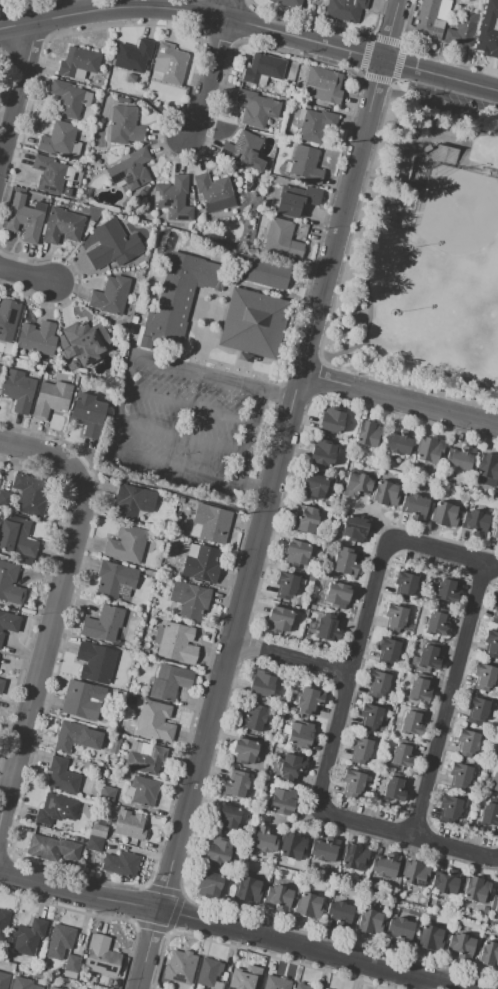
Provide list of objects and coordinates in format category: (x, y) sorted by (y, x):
building: (286, 3)
building: (344, 10)
building: (490, 14)
building: (427, 22)
road: (251, 24)
building: (462, 30)
building: (486, 43)
building: (133, 55)
building: (78, 62)
building: (169, 63)
road: (211, 68)
building: (263, 69)
building: (301, 73)
building: (325, 83)
road: (16, 87)
building: (65, 99)
road: (405, 107)
building: (256, 109)
building: (300, 114)
building: (123, 125)
building: (315, 126)
building: (59, 140)
building: (245, 150)
building: (445, 154)
road: (468, 163)
building: (305, 164)
road: (402, 164)
building: (130, 170)
building: (48, 175)
building: (214, 192)
building: (173, 199)
building: (296, 200)
building: (24, 219)
building: (62, 226)
park: (443, 238)
building: (282, 239)
building: (112, 245)
park: (424, 247)
road: (344, 252)
building: (265, 273)
road: (25, 275)
building: (111, 295)
building: (177, 297)
building: (186, 299)
building: (7, 319)
building: (253, 323)
building: (37, 338)
road: (366, 341)
building: (84, 342)
road: (341, 349)
park: (481, 355)
building: (244, 356)
building: (0, 367)
road: (129, 374)
road: (198, 374)
building: (18, 390)
road: (398, 397)
building: (51, 399)
road: (120, 407)
road: (189, 408)
building: (88, 414)
building: (331, 420)
parking lot: (183, 423)
building: (368, 433)
road: (112, 436)
road: (250, 438)
road: (180, 439)
building: (400, 442)
building: (428, 449)
building: (322, 453)
building: (460, 459)
building: (488, 466)
road: (173, 467)
building: (356, 484)
building: (314, 486)
road: (170, 492)
building: (383, 493)
building: (29, 494)
road: (267, 494)
building: (6, 499)
building: (179, 499)
building: (132, 502)
building: (413, 507)
building: (443, 515)
building: (305, 520)
building: (475, 522)
building: (210, 524)
building: (353, 529)
building: (494, 532)
building: (18, 539)
building: (125, 544)
road: (445, 550)
building: (295, 553)
building: (344, 562)
building: (201, 563)
building: (311, 579)
building: (115, 580)
building: (9, 583)
building: (285, 585)
building: (403, 586)
building: (444, 592)
building: (336, 595)
building: (189, 599)
road: (57, 604)
building: (312, 607)
building: (494, 610)
building: (394, 617)
building: (279, 619)
building: (8, 623)
building: (103, 624)
building: (436, 624)
building: (407, 627)
building: (327, 628)
building: (177, 644)
building: (491, 644)
building: (387, 650)
building: (145, 652)
building: (132, 656)
road: (290, 657)
building: (428, 658)
building: (95, 662)
road: (352, 673)
building: (483, 676)
building: (169, 682)
building: (1, 684)
building: (261, 684)
building: (277, 685)
building: (376, 685)
building: (419, 689)
road: (449, 699)
building: (81, 700)
building: (308, 701)
building: (475, 709)
building: (370, 717)
building: (253, 718)
building: (154, 721)
building: (411, 723)
building: (299, 734)
building: (76, 736)
building: (467, 743)
building: (360, 750)
building: (244, 751)
building: (497, 751)
building: (402, 754)
building: (146, 761)
building: (291, 767)
building: (62, 776)
building: (459, 776)
building: (494, 782)
building: (352, 784)
building: (236, 785)
building: (393, 788)
building: (143, 790)
building: (106, 795)
building: (282, 801)
building: (449, 808)
building: (56, 809)
building: (489, 814)
building: (226, 818)
building: (129, 826)
building: (98, 831)
road: (408, 835)
building: (263, 840)
building: (94, 844)
building: (292, 847)
building: (52, 849)
building: (217, 850)
building: (324, 850)
building: (353, 856)
building: (120, 863)
building: (384, 866)
building: (414, 873)
building: (446, 882)
building: (208, 884)
building: (475, 889)
building: (247, 890)
building: (279, 897)
building: (494, 904)
building: (308, 906)
building: (453, 908)
building: (485, 910)
building: (339, 914)
building: (6, 921)
building: (368, 921)
road: (227, 927)
building: (399, 928)
building: (28, 937)
building: (430, 938)
building: (59, 941)
building: (461, 945)
building: (488, 954)
building: (101, 957)
building: (72, 963)
building: (180, 967)
building: (208, 974)
building: (91, 979)
building: (4, 980)
building: (245, 980)
building: (115, 983)
building: (276, 983)
building: (22, 984)
building: (301, 986)
building: (60, 988)

